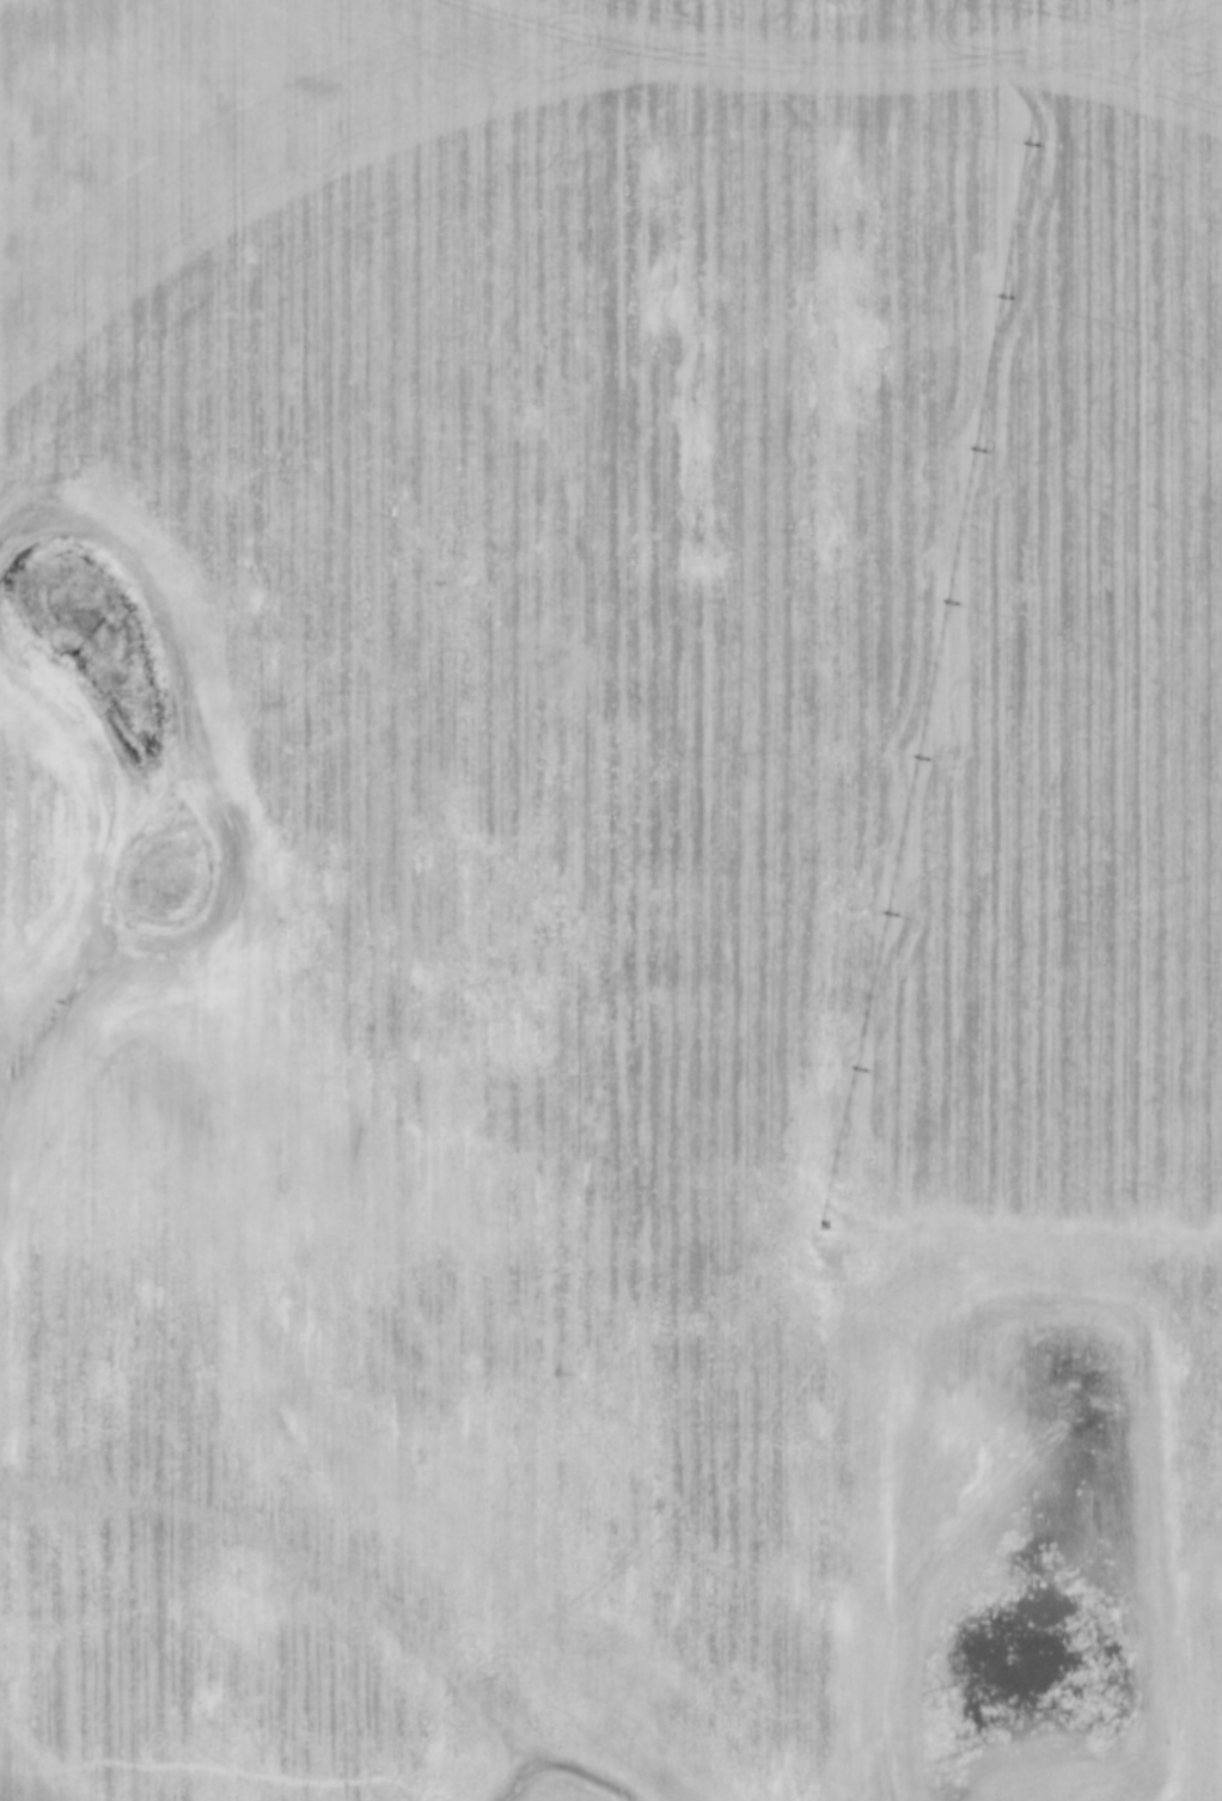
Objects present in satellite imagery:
road: (878, 1341)

